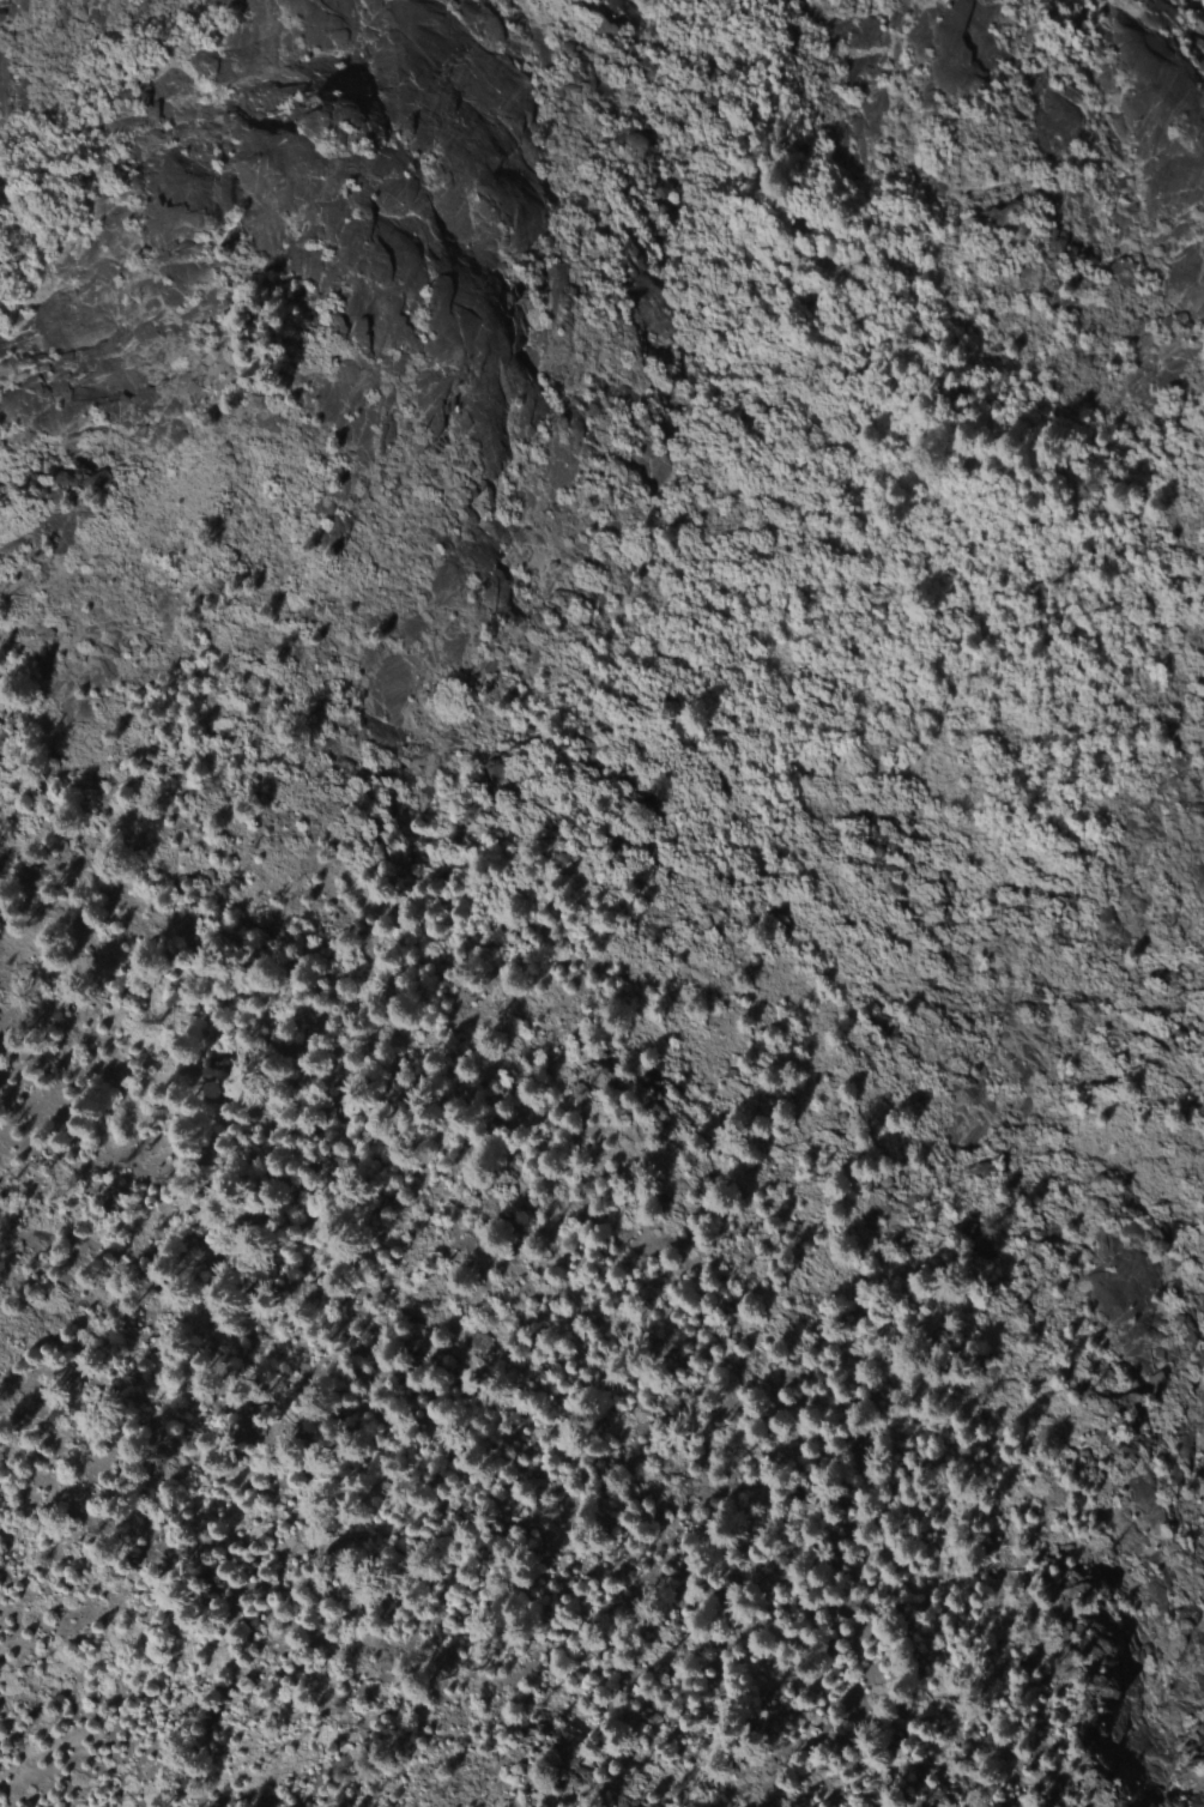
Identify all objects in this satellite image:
road: (72, 1560)

